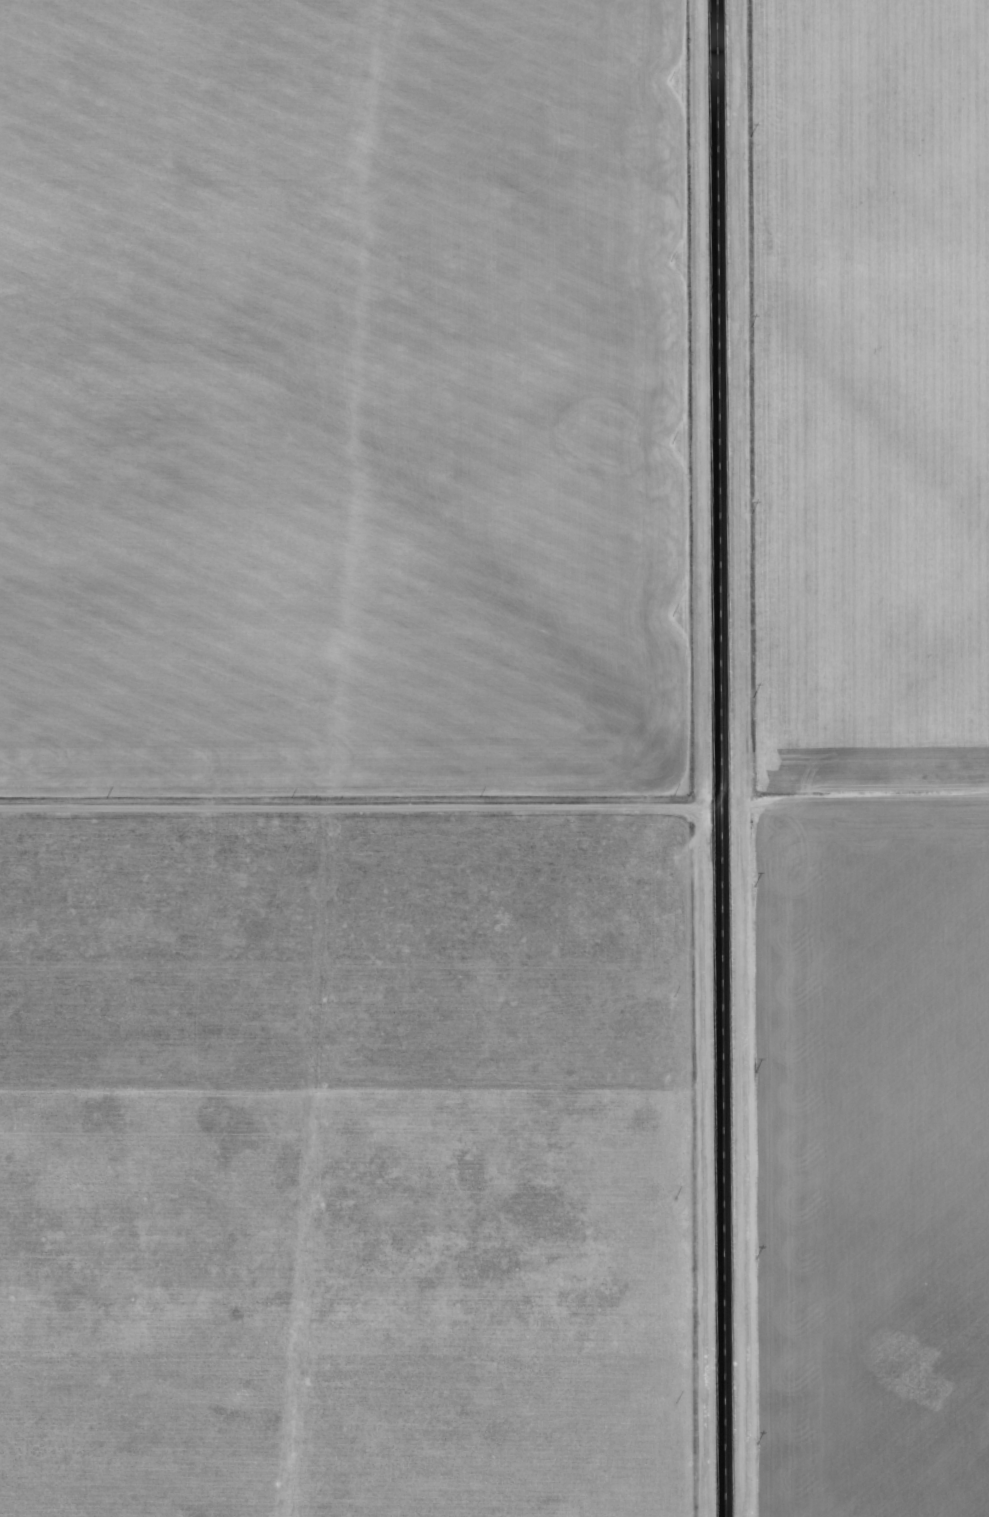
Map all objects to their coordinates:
road: (718, 758)
road: (359, 808)

